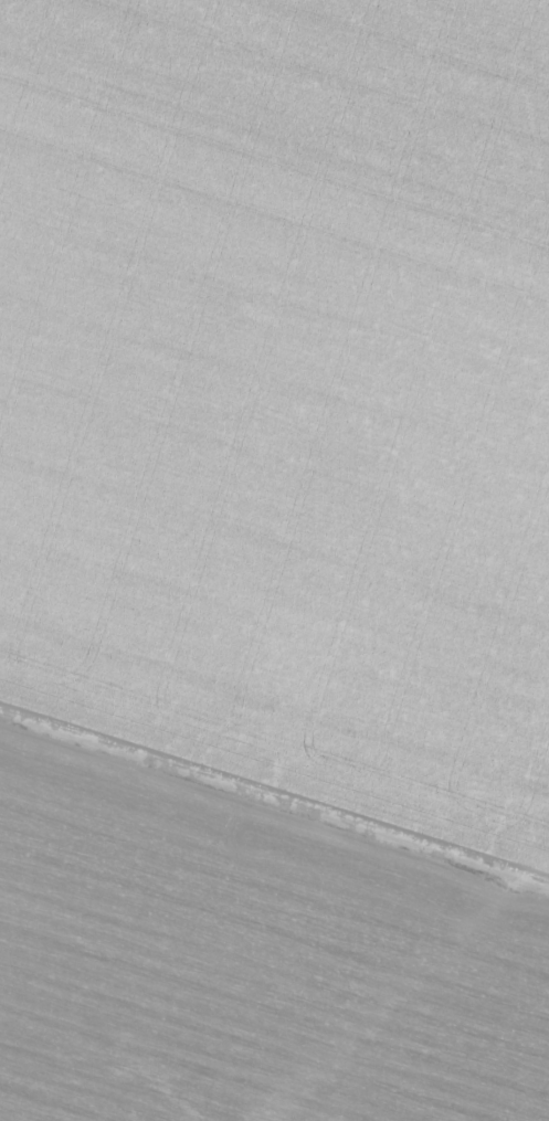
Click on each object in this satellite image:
road: (274, 821)

